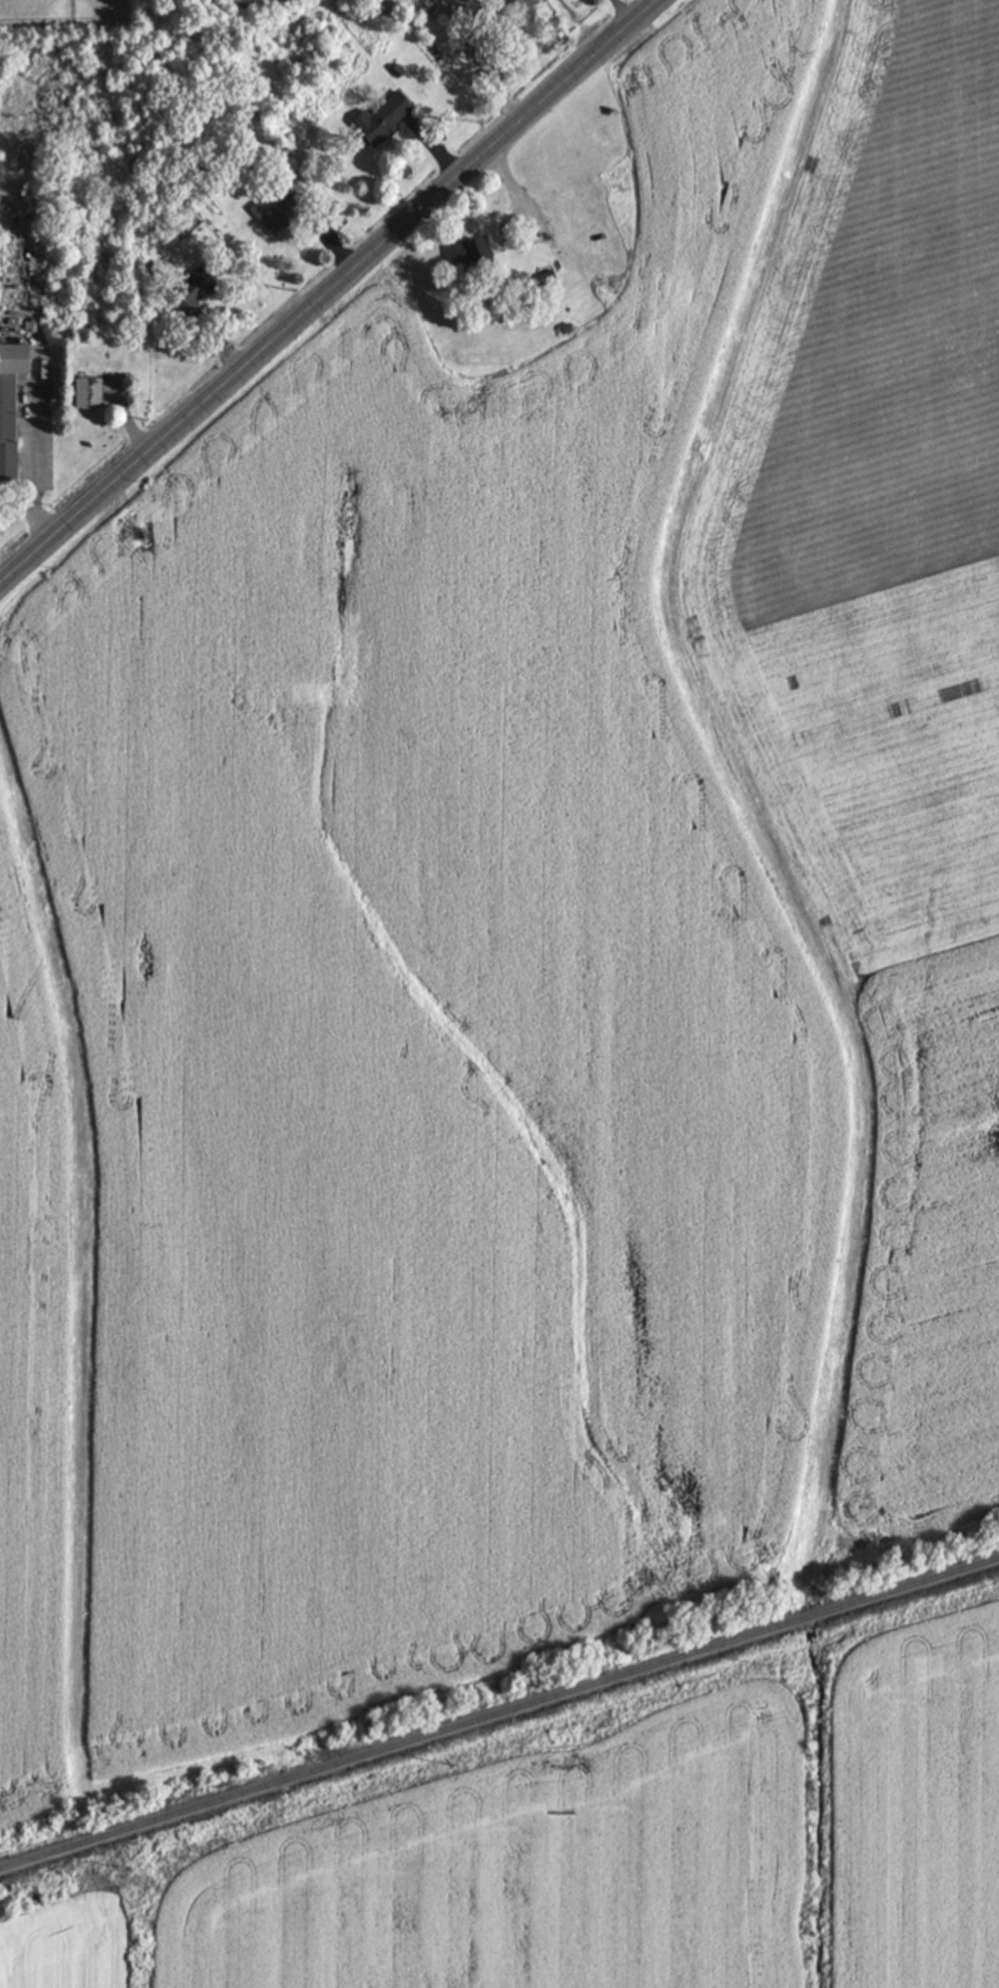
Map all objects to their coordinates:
road: (632, 8)
building: (377, 119)
building: (265, 215)
building: (466, 252)
building: (185, 291)
road: (329, 291)
building: (85, 393)
building: (9, 402)
road: (37, 441)
railway: (499, 1712)

